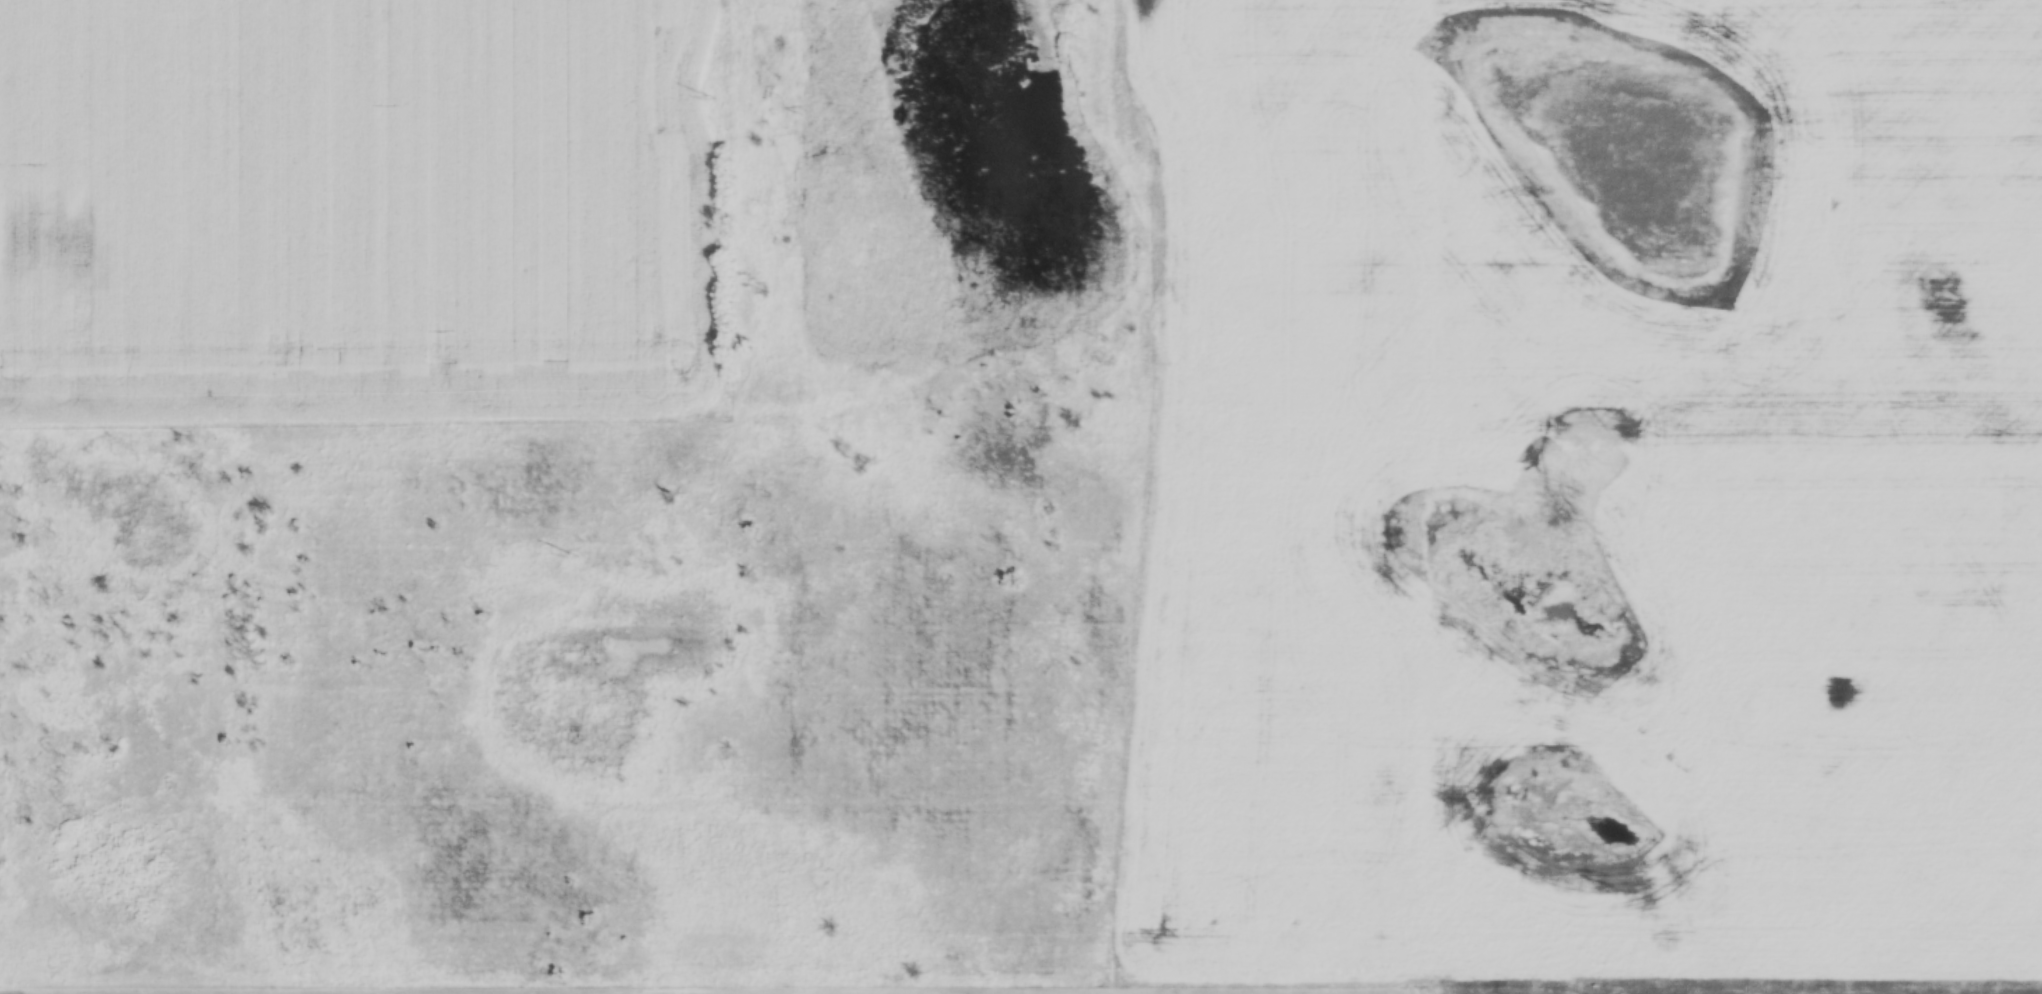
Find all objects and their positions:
power tower: (708, 96)
power tower: (571, 555)

